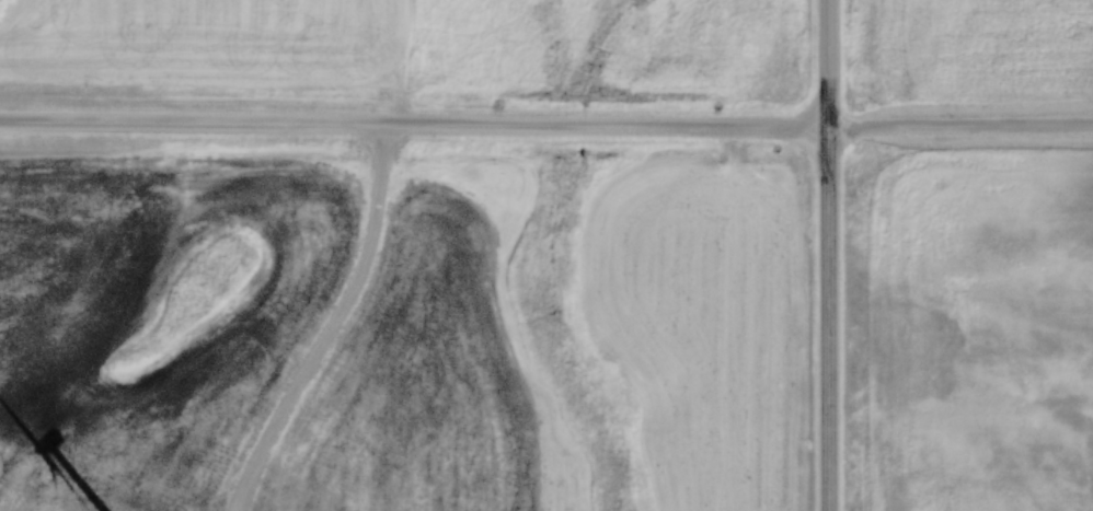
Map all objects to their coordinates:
road: (546, 125)
road: (827, 255)

